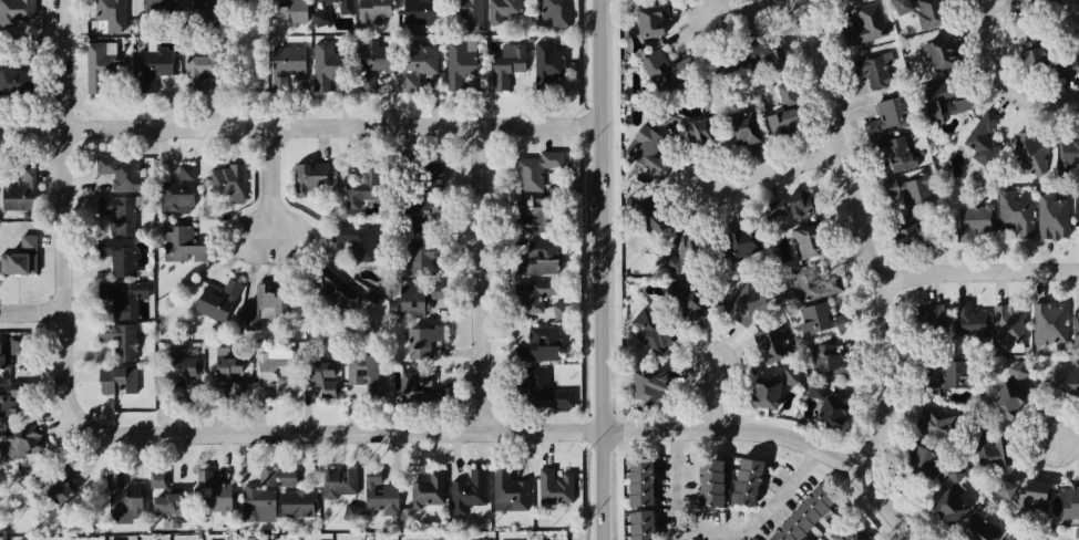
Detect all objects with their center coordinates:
building: (243, 0)
building: (161, 4)
building: (191, 4)
road: (746, 7)
building: (287, 10)
building: (501, 10)
building: (14, 11)
building: (371, 11)
building: (923, 11)
building: (419, 12)
building: (467, 12)
building: (327, 13)
building: (555, 13)
building: (208, 14)
building: (1034, 14)
building: (103, 17)
building: (648, 20)
road: (987, 20)
building: (865, 24)
building: (938, 52)
building: (1046, 56)
building: (763, 58)
building: (372, 63)
building: (458, 63)
building: (546, 63)
building: (323, 64)
building: (418, 64)
building: (506, 64)
building: (284, 65)
building: (199, 66)
building: (100, 67)
building: (152, 69)
building: (873, 69)
building: (666, 70)
building: (14, 80)
road: (1020, 92)
building: (947, 95)
building: (782, 111)
building: (888, 115)
road: (299, 126)
building: (723, 129)
building: (983, 137)
building: (644, 150)
building: (893, 152)
building: (1029, 156)
building: (1069, 156)
road: (783, 166)
building: (534, 167)
building: (119, 169)
building: (308, 176)
building: (432, 177)
building: (225, 183)
road: (274, 189)
building: (910, 189)
building: (20, 191)
building: (179, 191)
building: (360, 193)
building: (802, 205)
building: (781, 207)
building: (657, 208)
building: (115, 211)
building: (414, 211)
building: (1016, 211)
building: (1051, 216)
building: (525, 217)
building: (974, 221)
road: (64, 227)
building: (913, 231)
building: (737, 236)
building: (354, 237)
road: (873, 241)
building: (803, 243)
building: (181, 245)
building: (789, 247)
building: (414, 251)
building: (114, 252)
building: (536, 252)
building: (681, 257)
building: (18, 258)
road: (602, 269)
road: (980, 272)
road: (483, 280)
building: (814, 283)
building: (331, 291)
building: (121, 294)
building: (537, 294)
building: (418, 298)
building: (217, 299)
building: (681, 301)
building: (743, 304)
building: (561, 310)
road: (32, 311)
building: (265, 311)
building: (927, 312)
building: (812, 313)
building: (969, 321)
building: (1049, 322)
building: (1075, 325)
building: (1008, 328)
building: (648, 329)
building: (421, 333)
building: (115, 341)
building: (538, 343)
building: (767, 345)
building: (825, 352)
building: (10, 353)
building: (273, 370)
building: (361, 372)
building: (225, 374)
building: (794, 376)
building: (948, 376)
building: (181, 377)
building: (1066, 378)
building: (115, 380)
building: (319, 380)
building: (414, 380)
building: (640, 386)
building: (16, 390)
building: (1010, 390)
building: (541, 391)
building: (815, 391)
building: (238, 392)
building: (759, 393)
road: (715, 397)
building: (6, 398)
building: (830, 403)
building: (939, 423)
road: (692, 433)
road: (386, 434)
road: (1066, 439)
building: (991, 443)
building: (19, 449)
road: (829, 458)
building: (919, 460)
building: (64, 466)
building: (955, 476)
building: (205, 479)
building: (637, 481)
building: (742, 481)
building: (335, 482)
building: (710, 482)
building: (68, 487)
building: (552, 488)
building: (425, 490)
building: (467, 491)
building: (505, 491)
building: (291, 495)
building: (1026, 495)
building: (120, 496)
building: (377, 496)
building: (161, 500)
building: (255, 500)
building: (1070, 501)
building: (214, 503)
building: (947, 506)
building: (352, 512)
building: (793, 515)
road: (718, 522)
building: (637, 526)
building: (977, 528)
building: (851, 531)
building: (255, 538)
building: (1011, 538)

